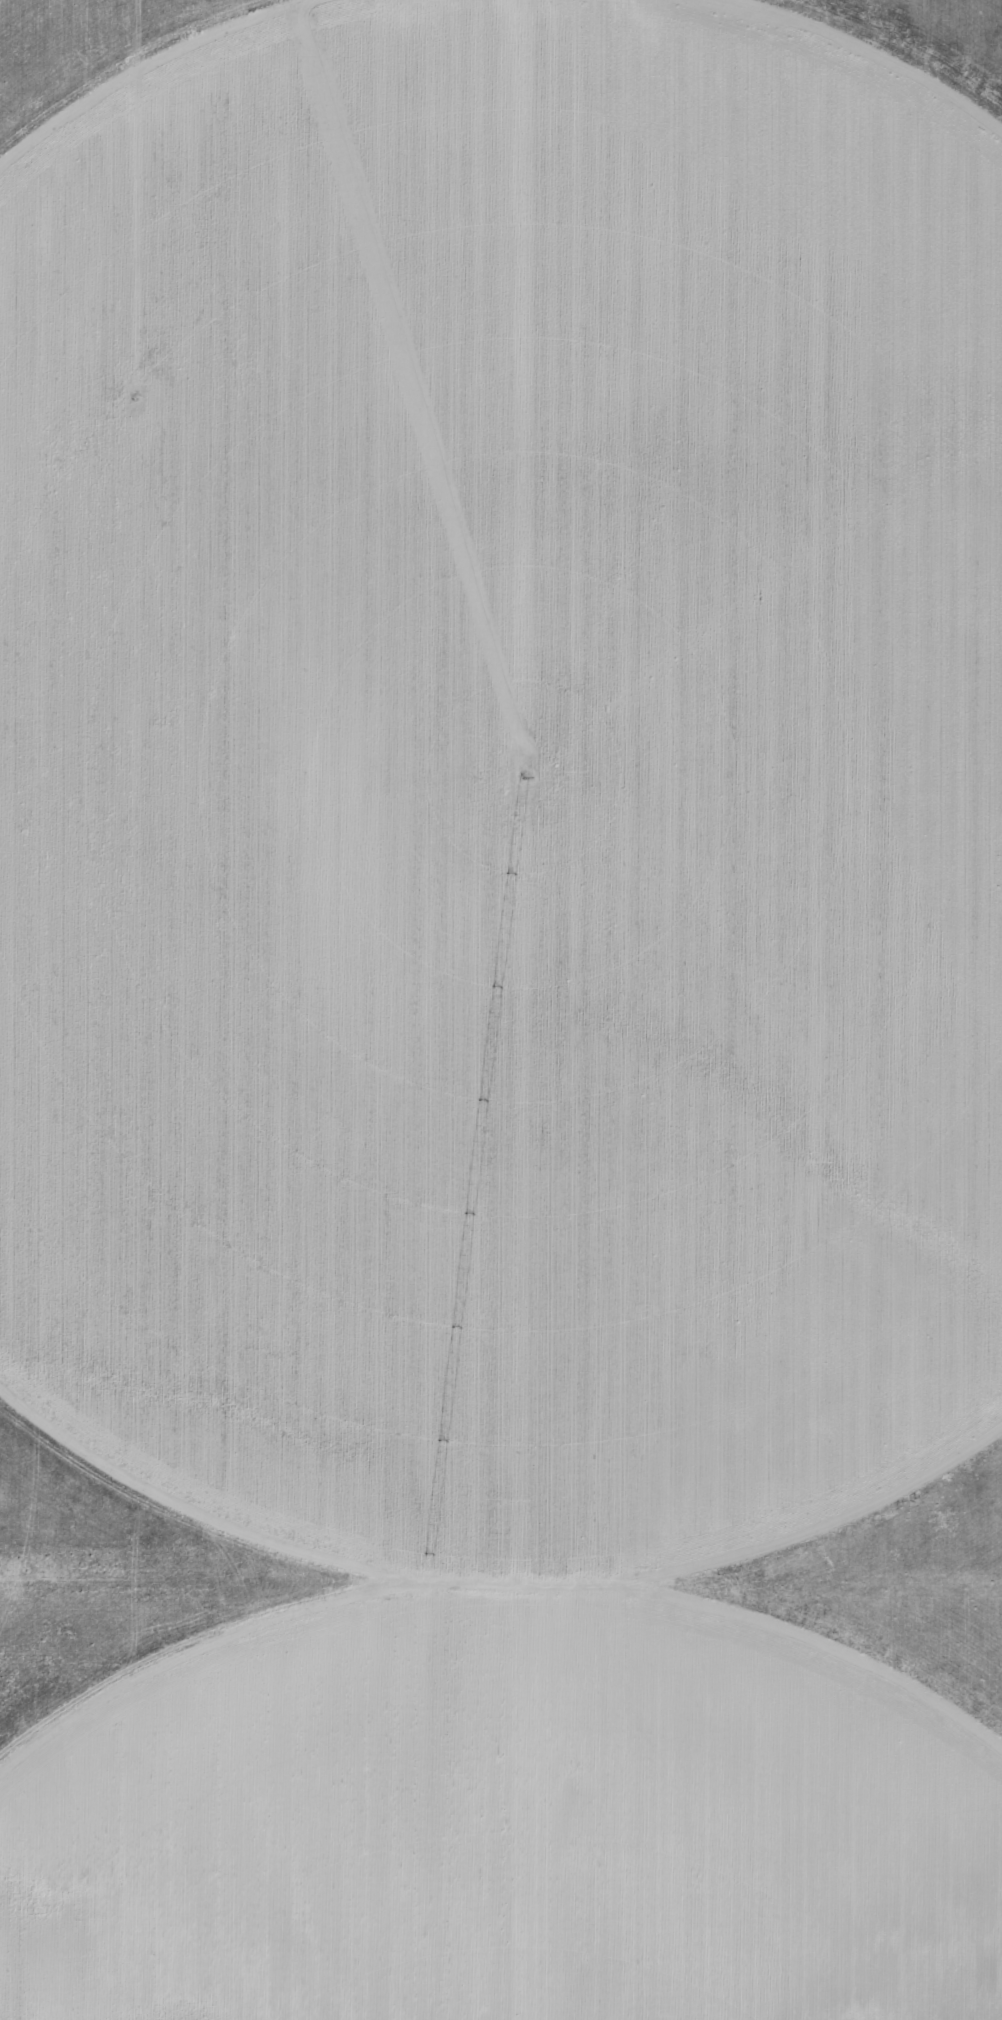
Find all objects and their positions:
road: (45, 1908)

